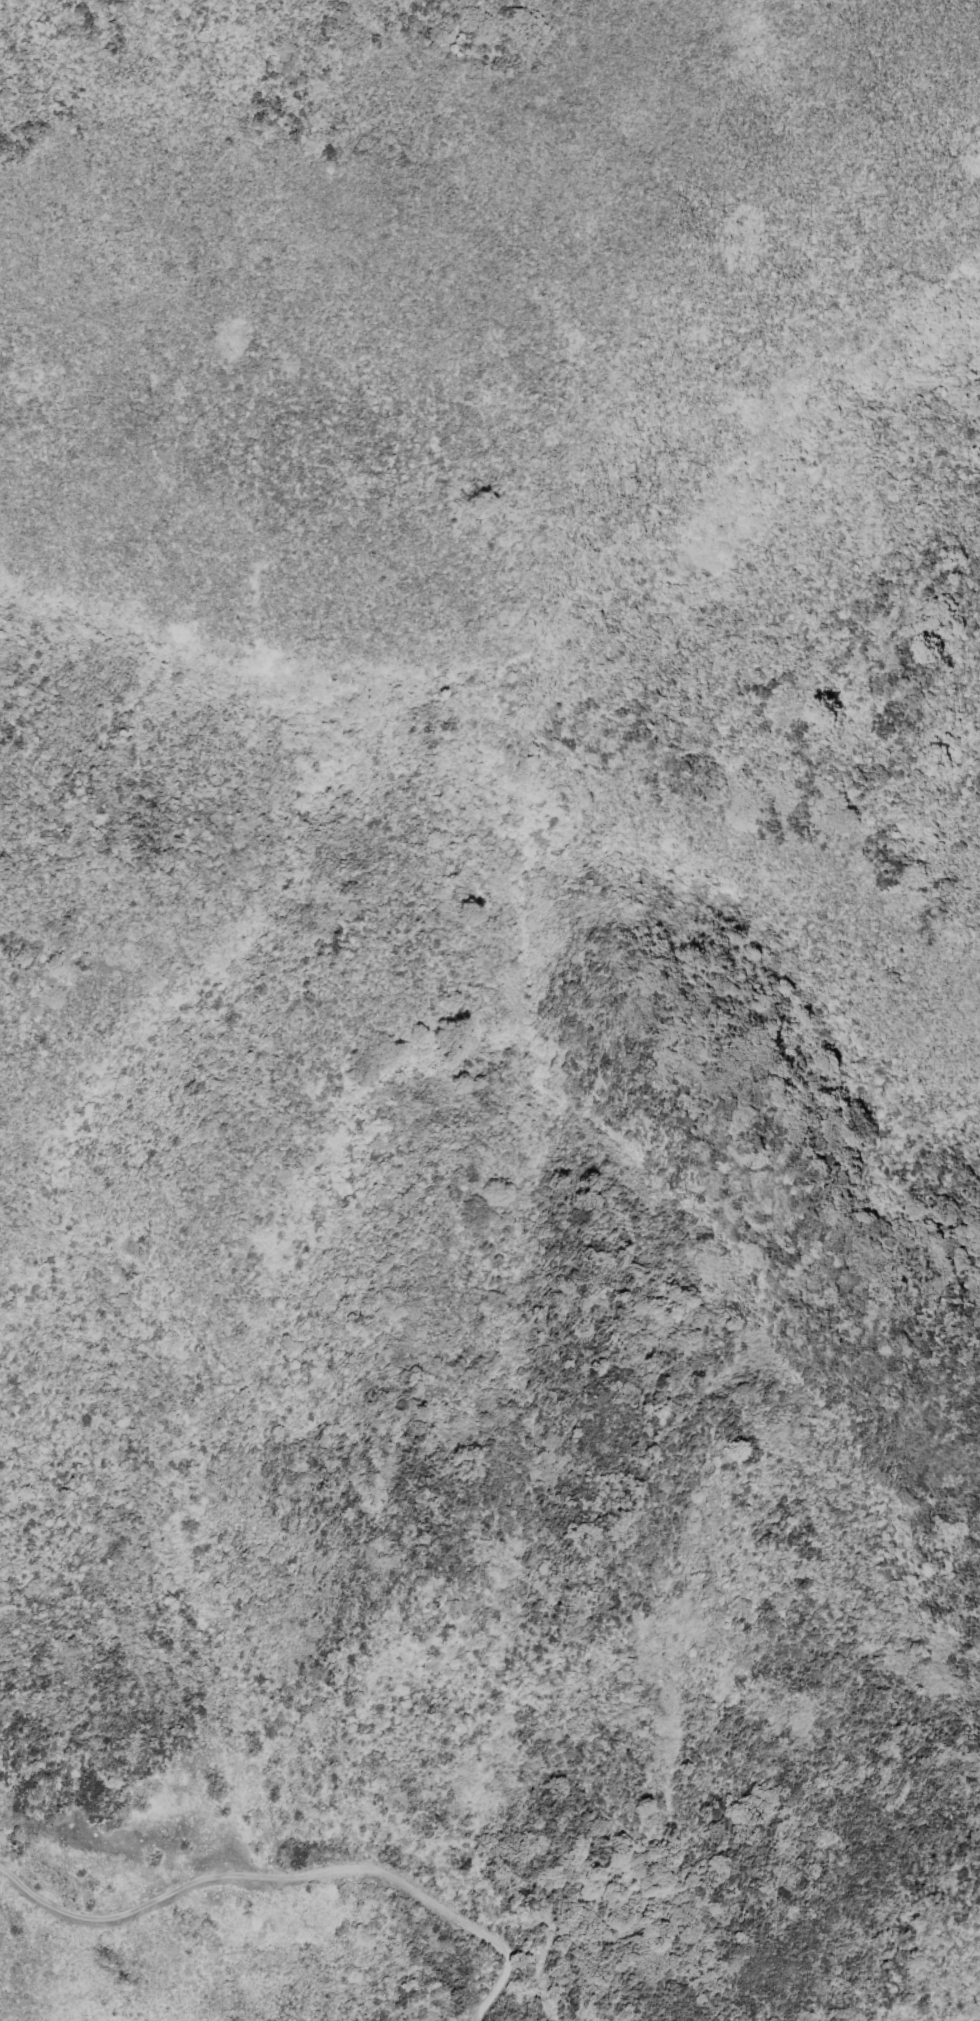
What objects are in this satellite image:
road: (291, 1880)

